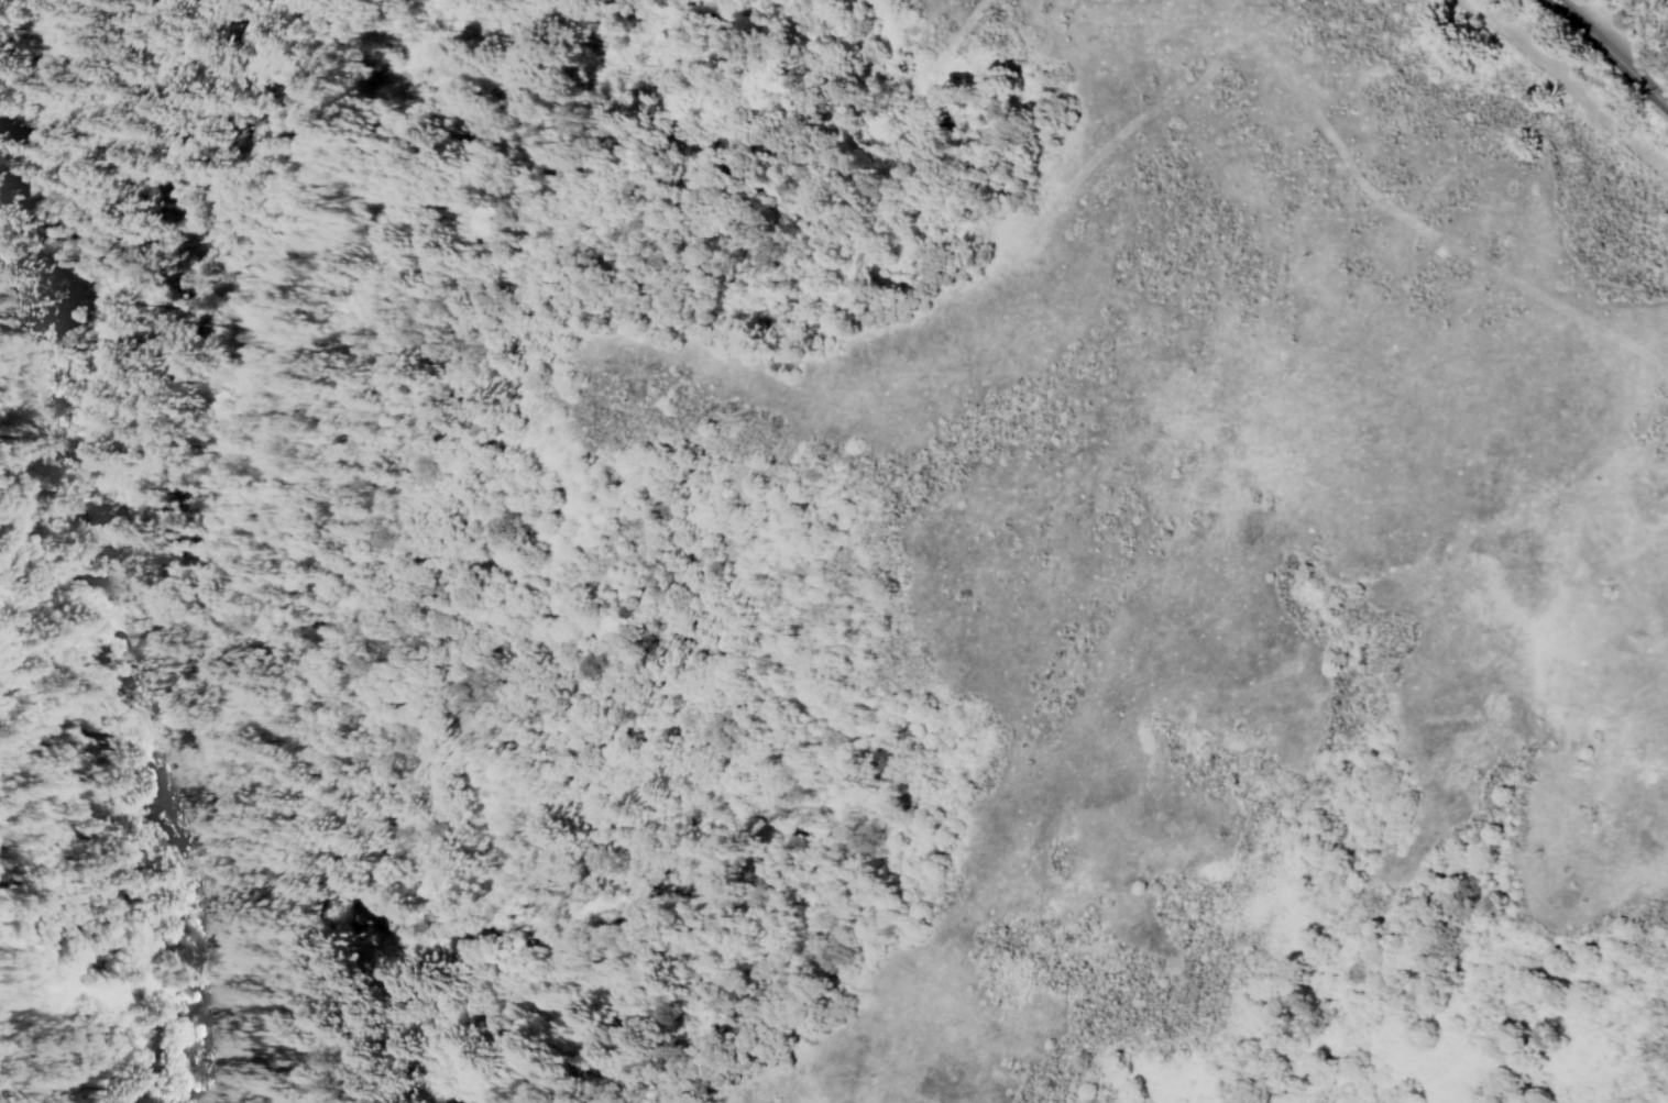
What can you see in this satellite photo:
road: (1610, 52)

